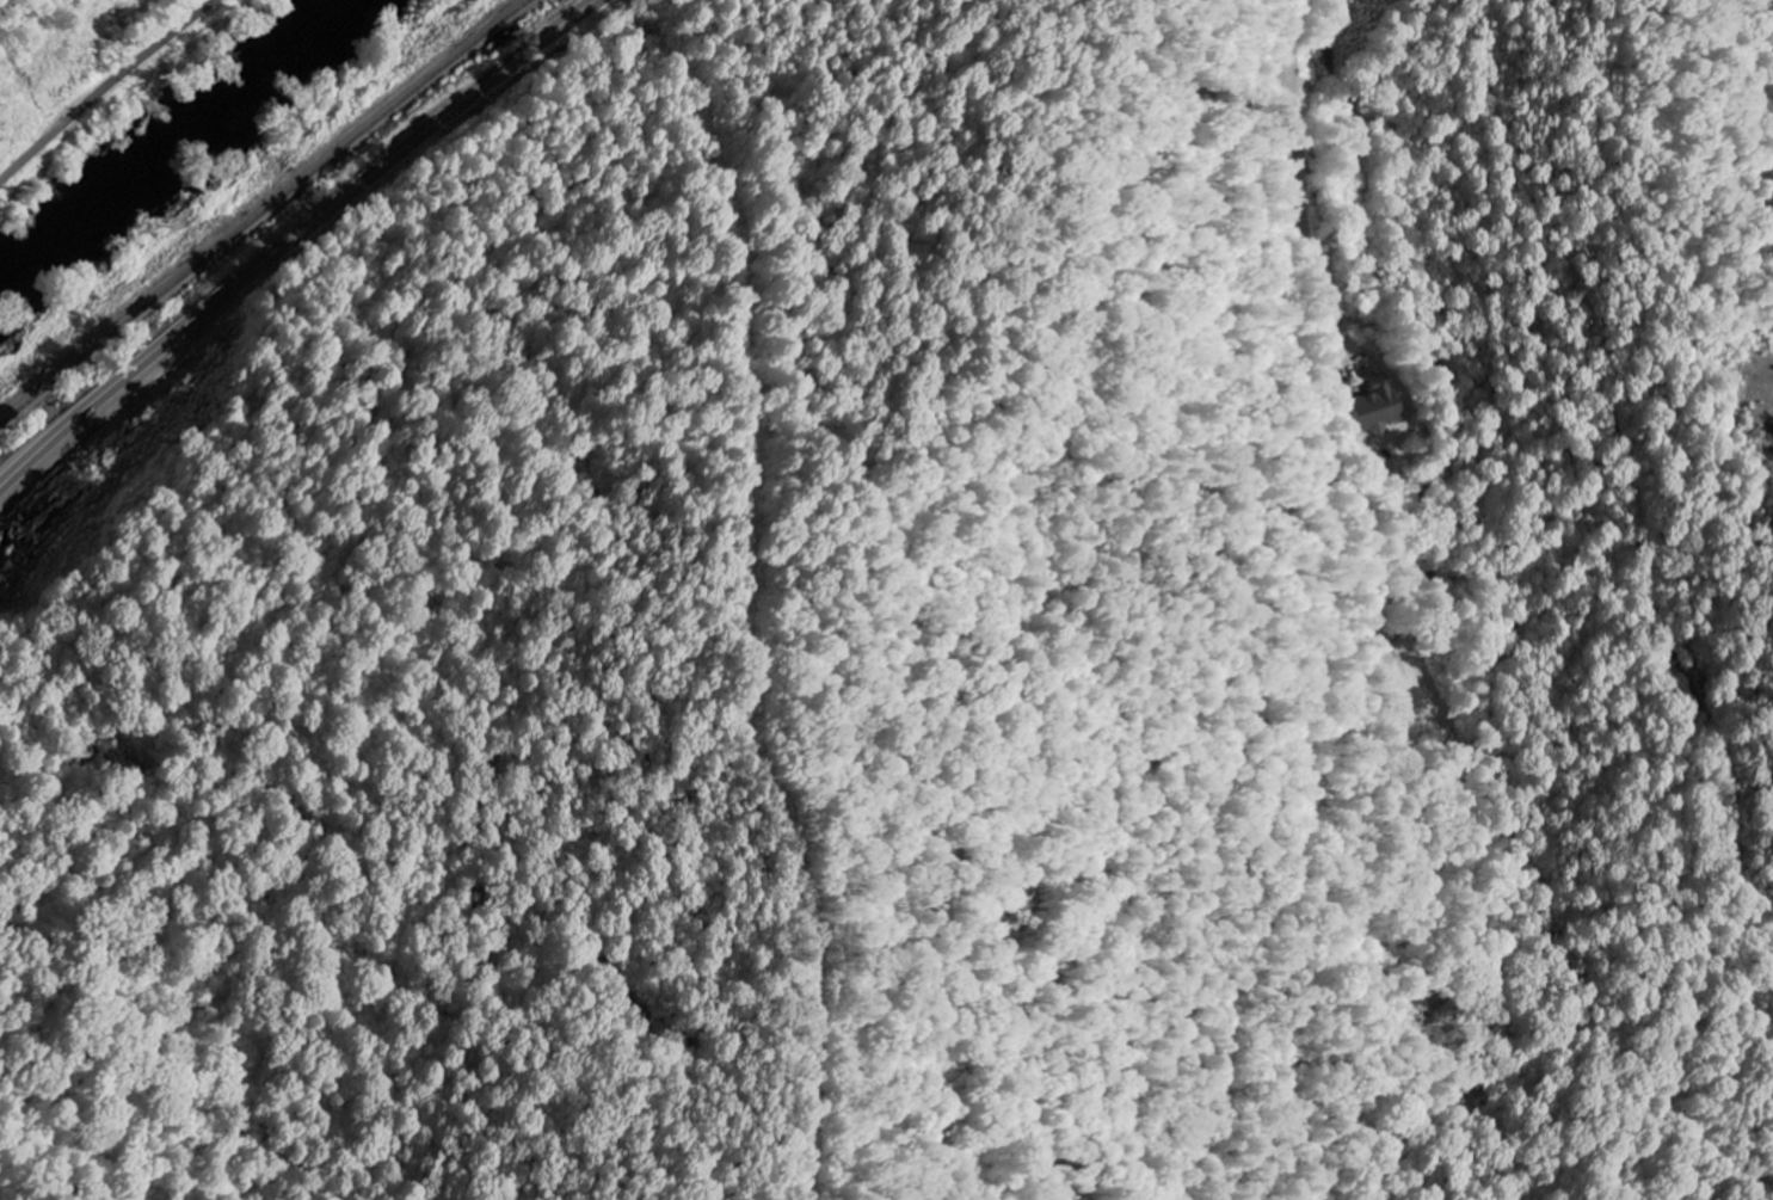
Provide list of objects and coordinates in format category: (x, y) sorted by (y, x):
road: (105, 87)
river: (164, 133)
railway: (261, 207)
road: (290, 241)
building: (1373, 406)

